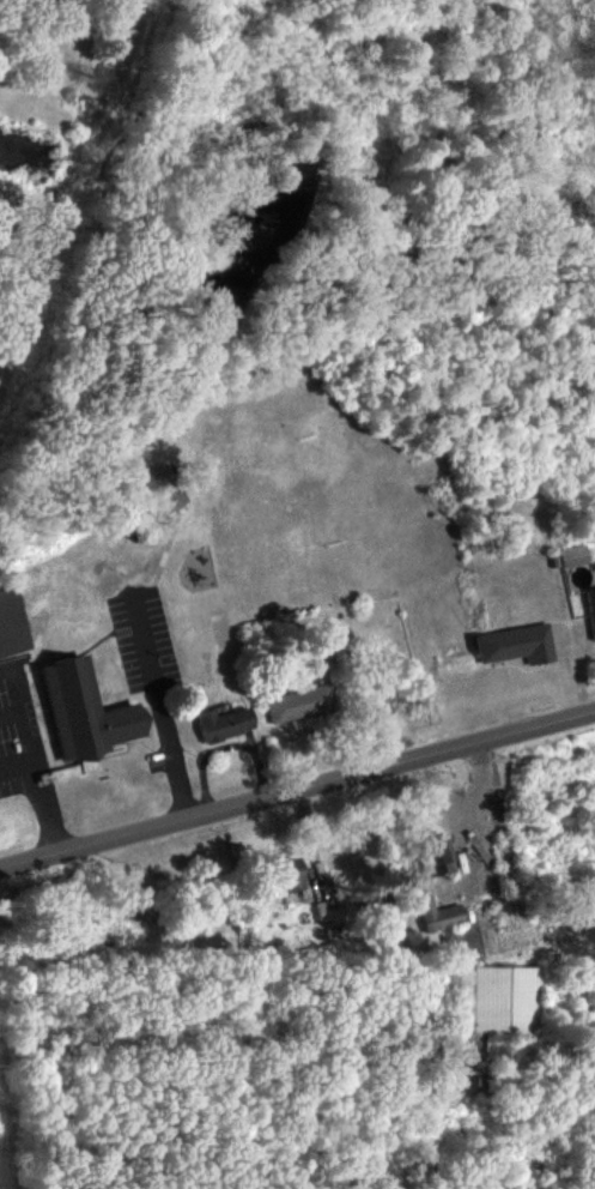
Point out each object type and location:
building: (165, 490)
building: (573, 557)
building: (591, 612)
building: (11, 627)
building: (517, 646)
building: (299, 706)
building: (86, 714)
road: (163, 714)
building: (225, 725)
road: (297, 790)
building: (290, 877)
building: (328, 911)
building: (438, 916)
building: (491, 1001)

